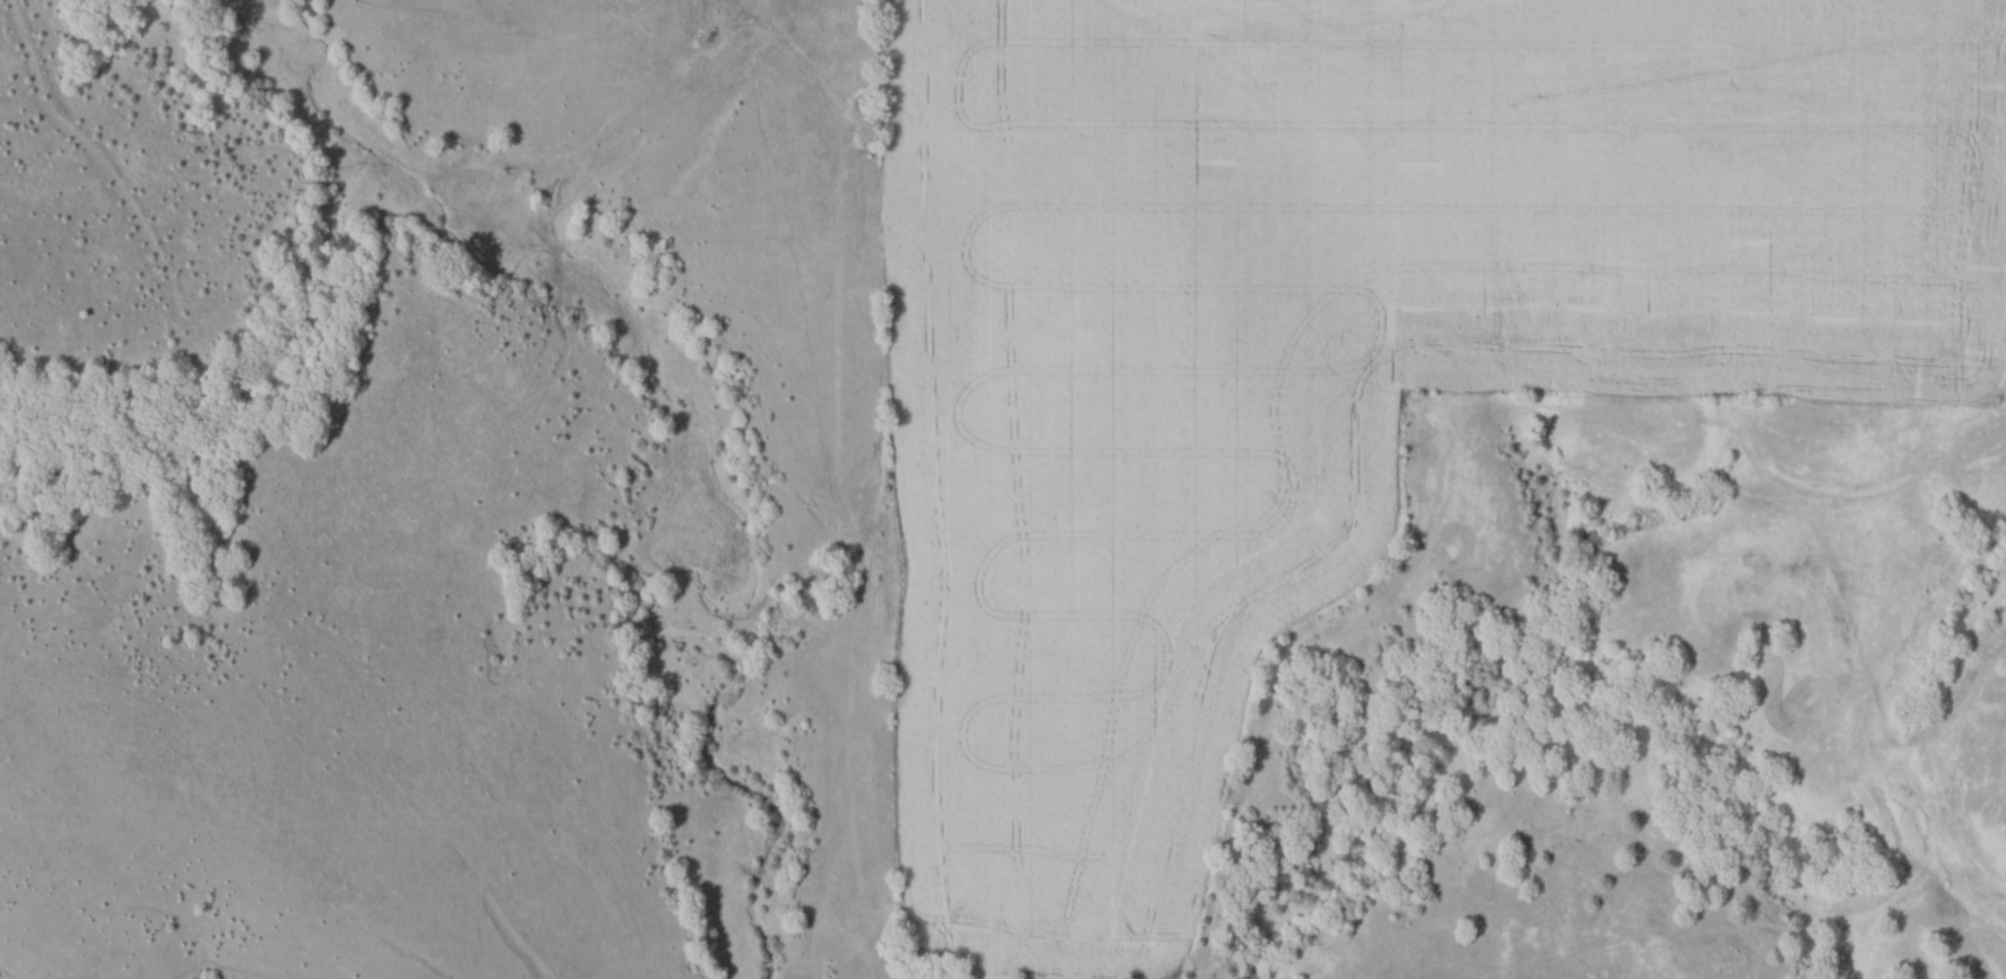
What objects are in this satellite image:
river: (706, 767)

